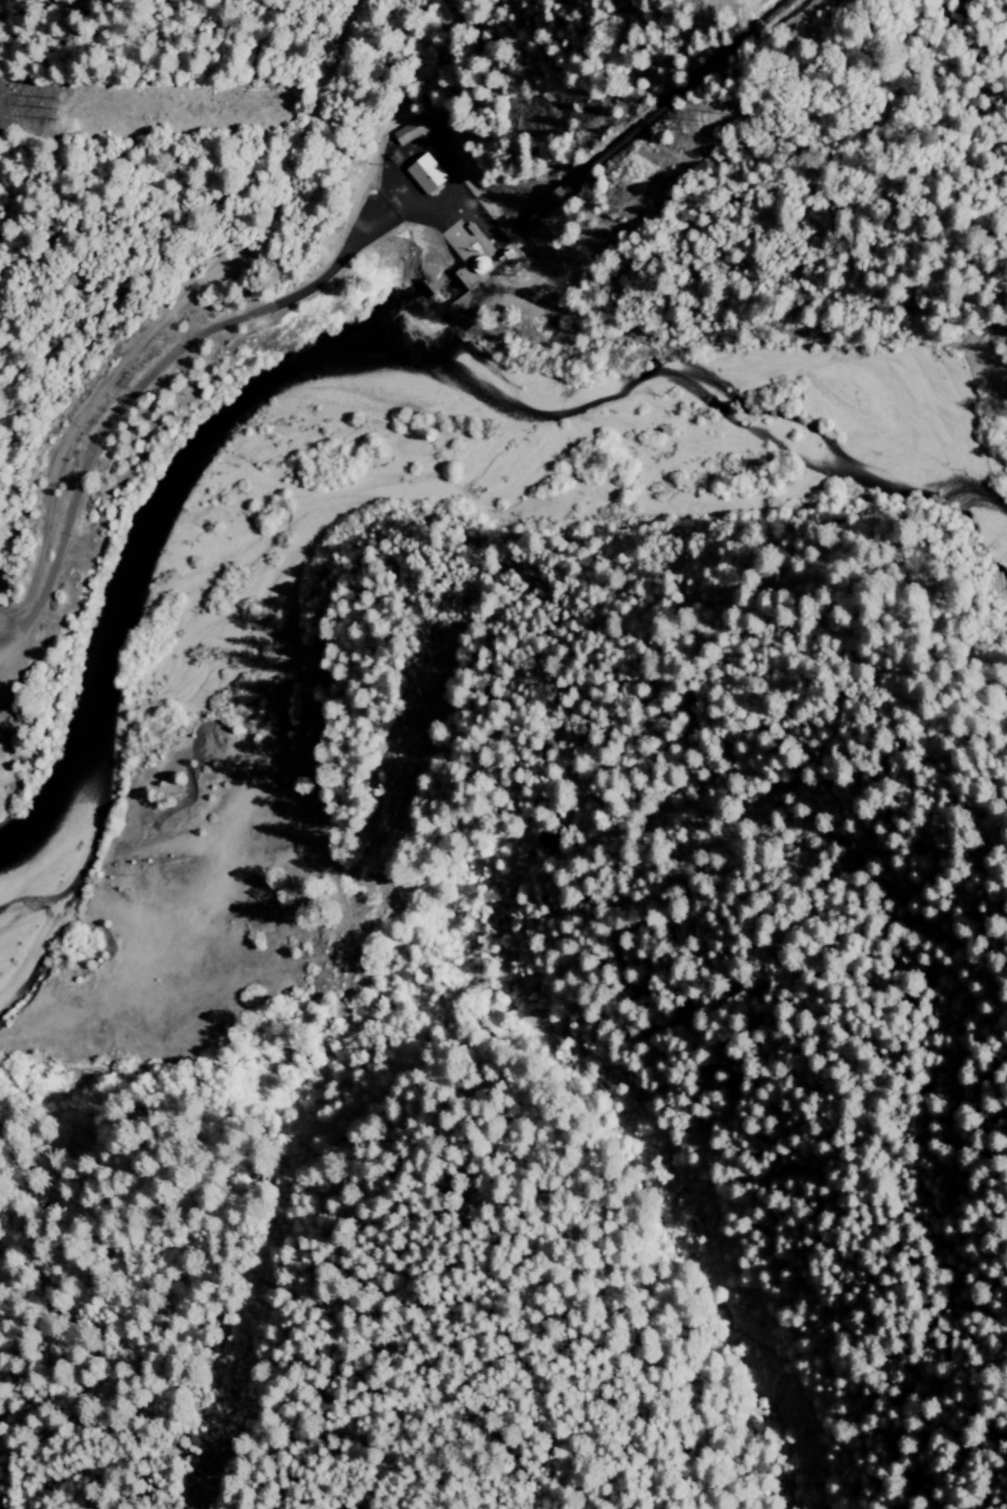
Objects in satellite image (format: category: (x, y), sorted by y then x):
power tower: (62, 112)
power tower: (704, 121)
building: (408, 131)
building: (425, 173)
building: (449, 191)
power tower: (508, 259)
building: (483, 266)
power tower: (542, 296)
road: (174, 311)
river: (357, 339)
power tower: (440, 642)
road: (690, 718)

